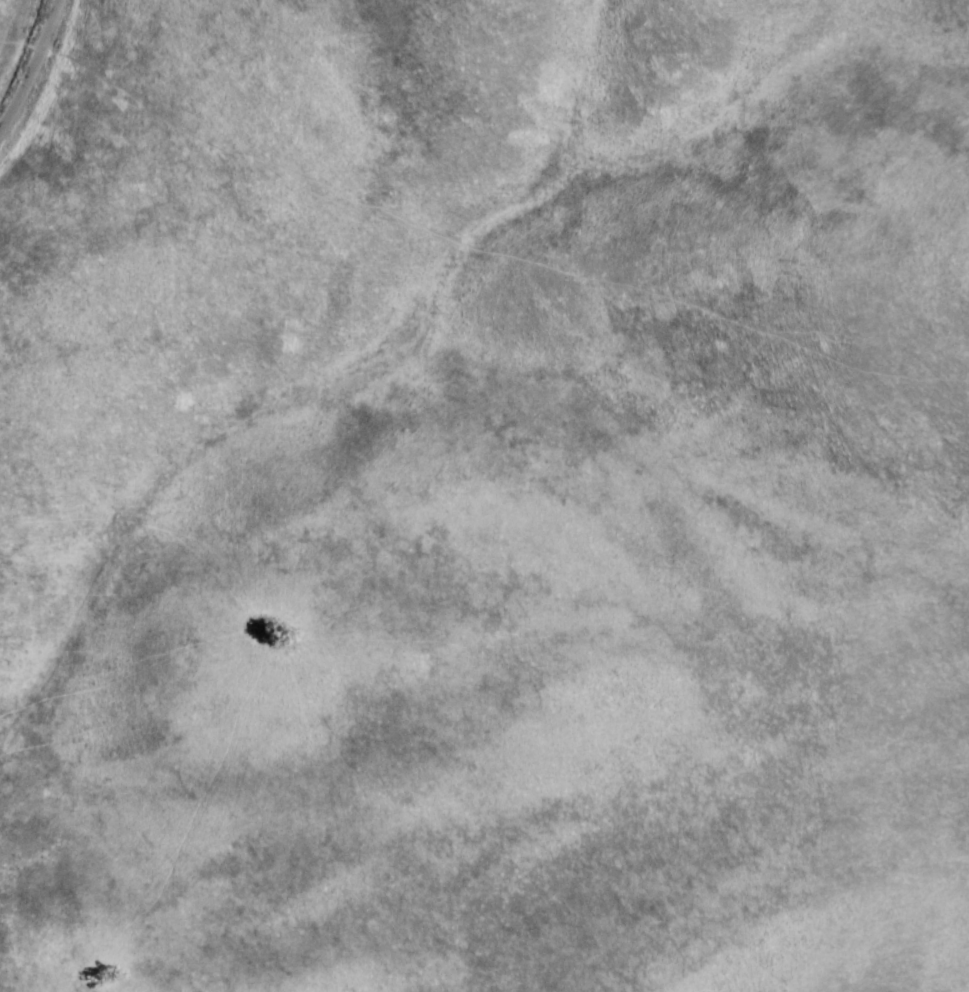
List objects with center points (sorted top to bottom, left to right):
road: (29, 62)

